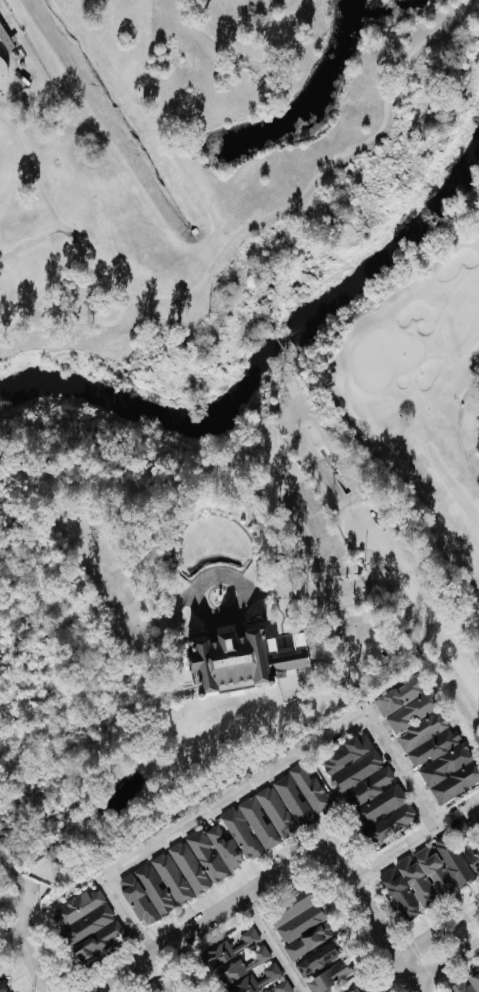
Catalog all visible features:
road: (254, 50)
building: (5, 74)
road: (229, 242)
park: (383, 356)
river: (273, 362)
park: (422, 396)
road: (458, 428)
road: (320, 535)
road: (193, 596)
road: (431, 622)
road: (469, 634)
building: (249, 660)
road: (372, 676)
building: (431, 739)
building: (355, 763)
road: (250, 786)
building: (372, 787)
building: (304, 795)
building: (389, 815)
building: (262, 823)
road: (414, 841)
building: (219, 853)
building: (473, 856)
building: (193, 868)
building: (438, 870)
road: (268, 882)
building: (159, 889)
building: (404, 896)
building: (301, 919)
building: (91, 925)
road: (436, 935)
road: (24, 938)
building: (311, 942)
road: (273, 944)
building: (241, 957)
building: (320, 960)
road: (444, 965)
building: (276, 976)
building: (331, 978)
road: (411, 982)
building: (3, 984)
building: (469, 985)
building: (285, 987)
building: (155, 988)
building: (376, 989)
building: (358, 990)

